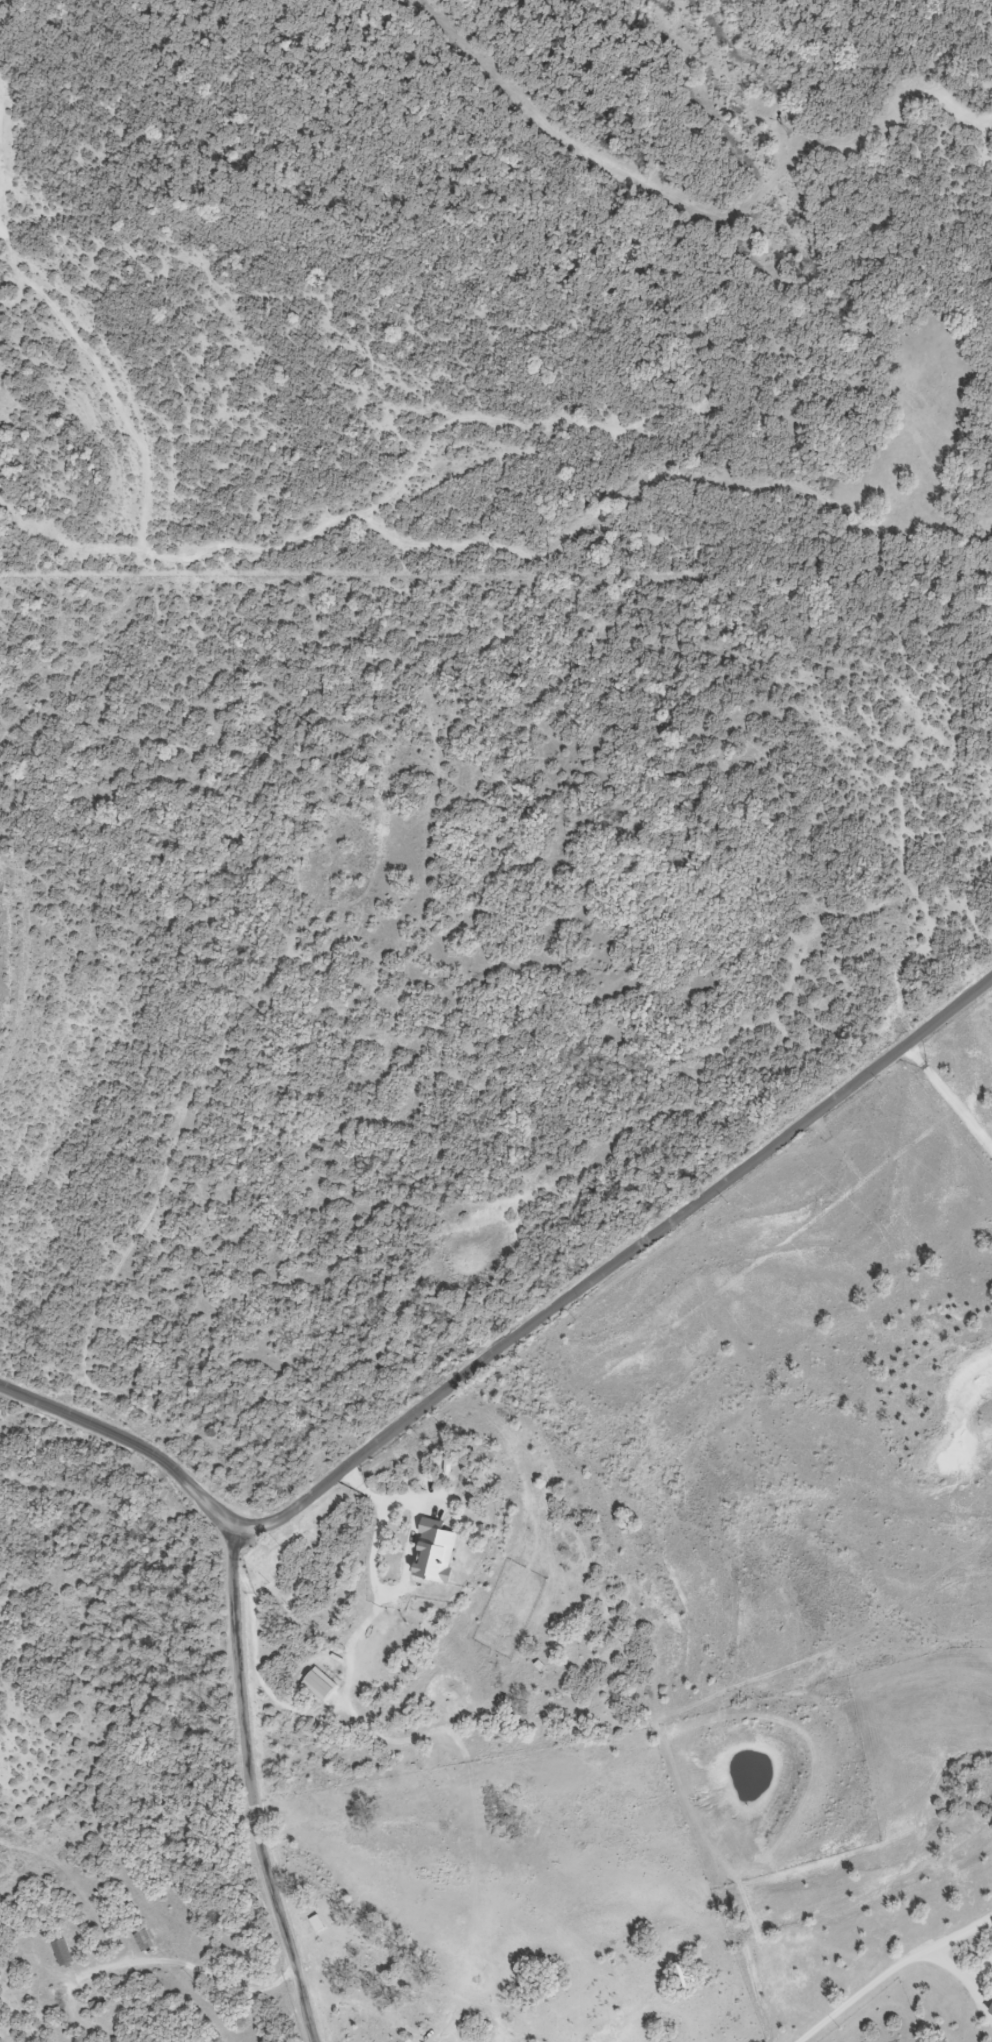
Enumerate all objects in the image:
road: (947, 1013)
road: (948, 1103)
road: (576, 1298)
road: (129, 1442)
road: (382, 1552)
road: (356, 1660)
road: (255, 1788)
road: (450, 1895)
building: (143, 1941)
building: (62, 1953)
road: (188, 1964)
road: (888, 1972)

